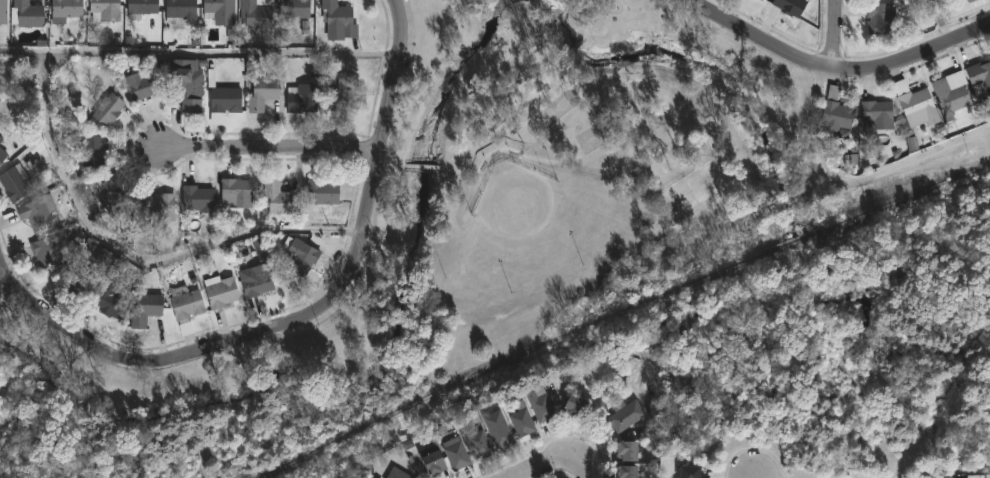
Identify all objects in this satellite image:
building: (969, 0)
building: (790, 6)
building: (292, 8)
building: (65, 9)
building: (104, 9)
building: (142, 9)
building: (180, 9)
building: (2, 12)
building: (26, 14)
building: (220, 14)
building: (254, 14)
building: (336, 18)
building: (879, 18)
road: (832, 33)
road: (199, 60)
road: (836, 67)
building: (979, 77)
building: (142, 84)
building: (184, 88)
building: (867, 91)
building: (262, 93)
building: (342, 95)
building: (950, 96)
building: (302, 98)
building: (224, 99)
building: (915, 104)
building: (106, 106)
building: (834, 112)
building: (877, 113)
building: (1, 139)
building: (92, 151)
building: (2, 154)
road: (271, 155)
road: (855, 180)
building: (14, 183)
building: (323, 191)
building: (114, 192)
building: (236, 192)
building: (277, 197)
railway: (904, 197)
building: (196, 198)
building: (158, 206)
building: (38, 213)
park: (460, 233)
railway: (790, 243)
building: (48, 251)
building: (261, 253)
building: (300, 256)
building: (103, 259)
road: (135, 264)
building: (256, 279)
building: (81, 280)
building: (220, 291)
building: (107, 299)
building: (185, 303)
building: (147, 306)
road: (305, 319)
railway: (506, 359)
building: (540, 404)
building: (572, 405)
building: (624, 415)
building: (520, 420)
building: (497, 429)
building: (476, 443)
building: (625, 451)
building: (455, 454)
building: (431, 461)
road: (550, 462)
road: (587, 469)
building: (625, 472)
building: (690, 472)
building: (396, 473)

